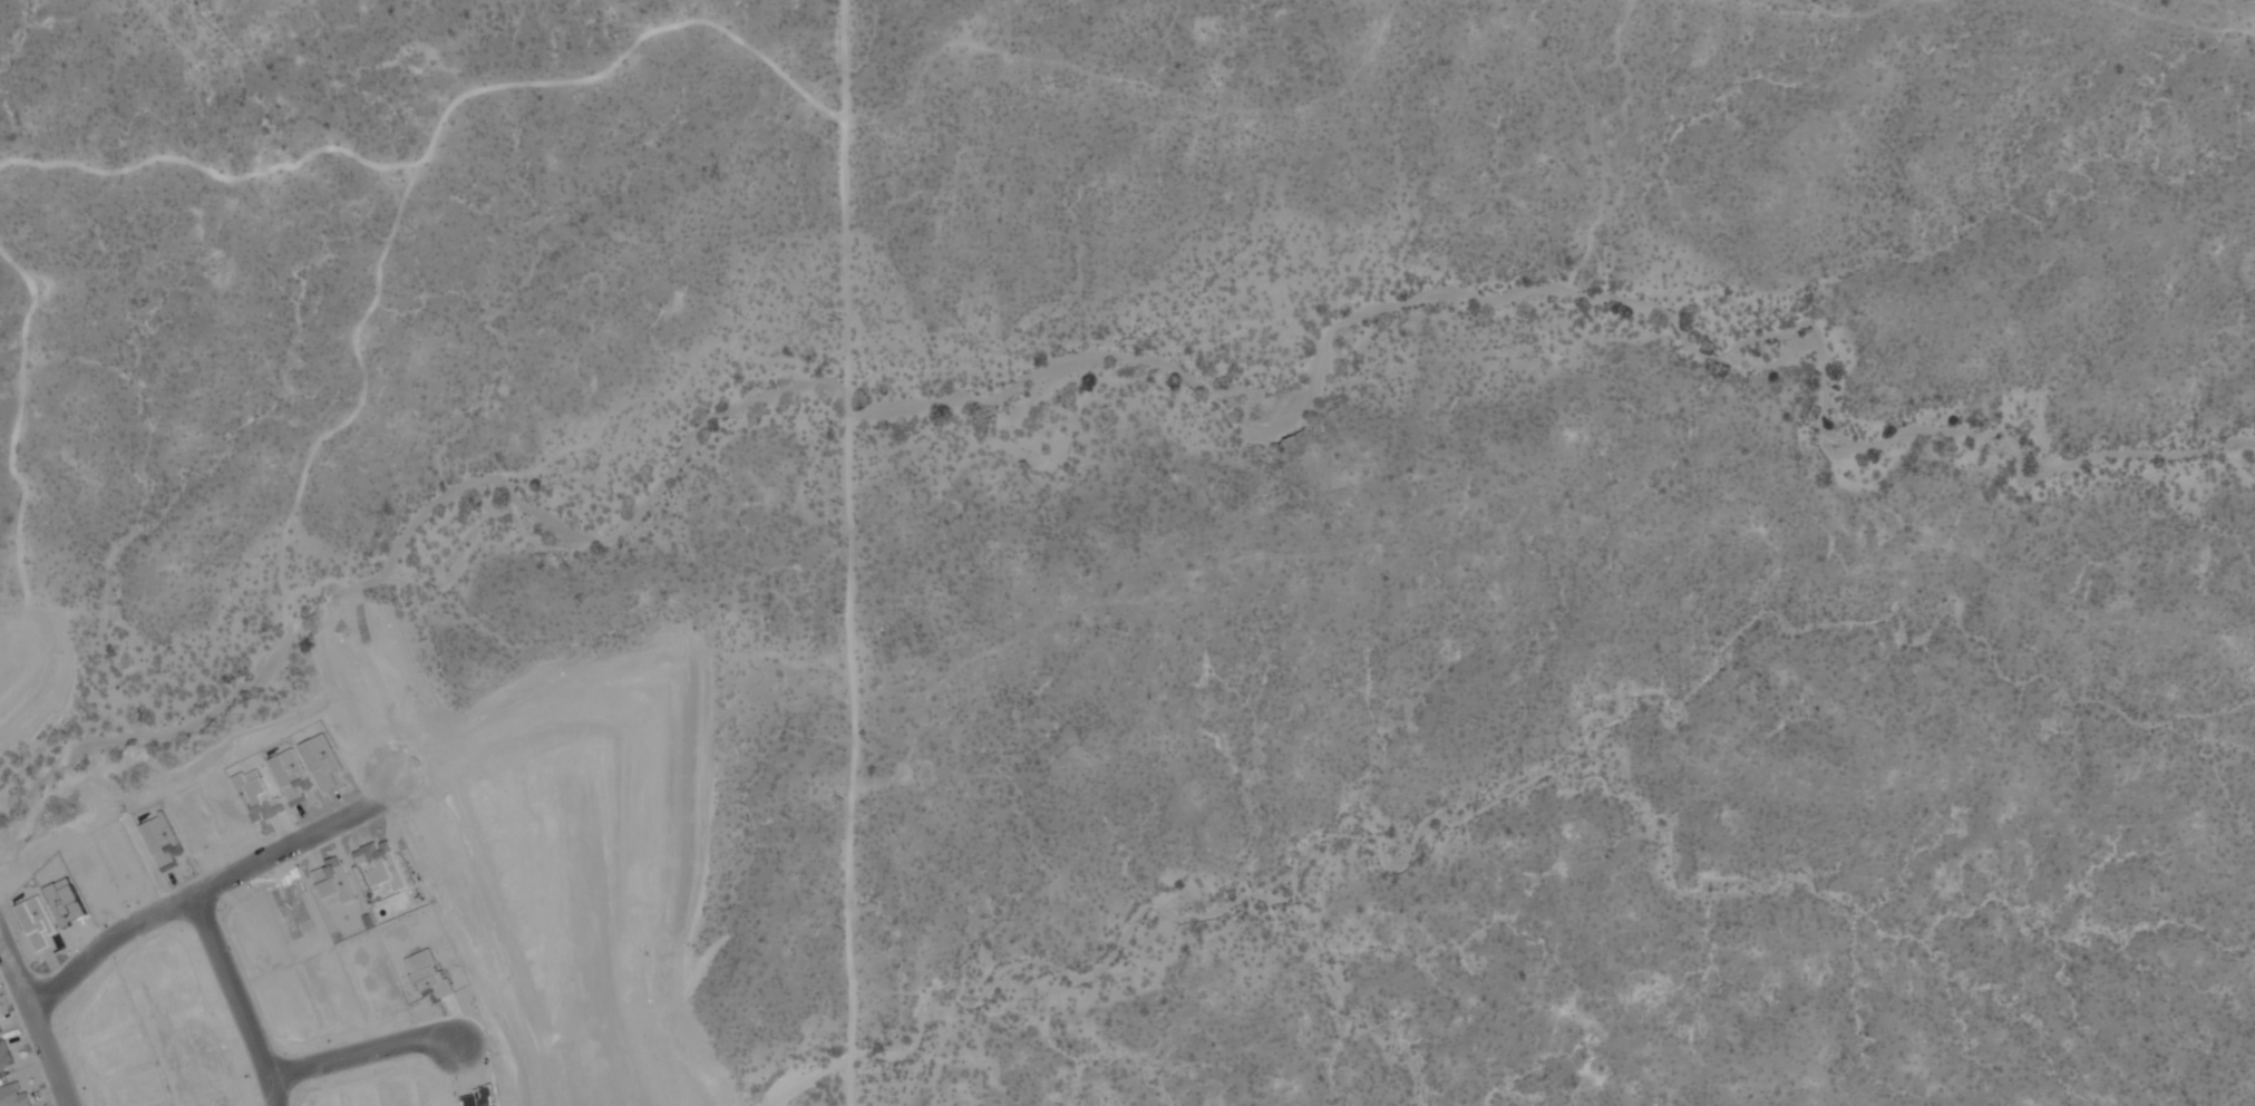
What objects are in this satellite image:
road: (847, 553)
road: (202, 881)
street lamp: (6, 992)
road: (227, 997)
road: (37, 1026)
building: (0, 1028)
road: (358, 1048)
building: (6, 1055)
building: (14, 1094)
street lamp: (51, 1105)

